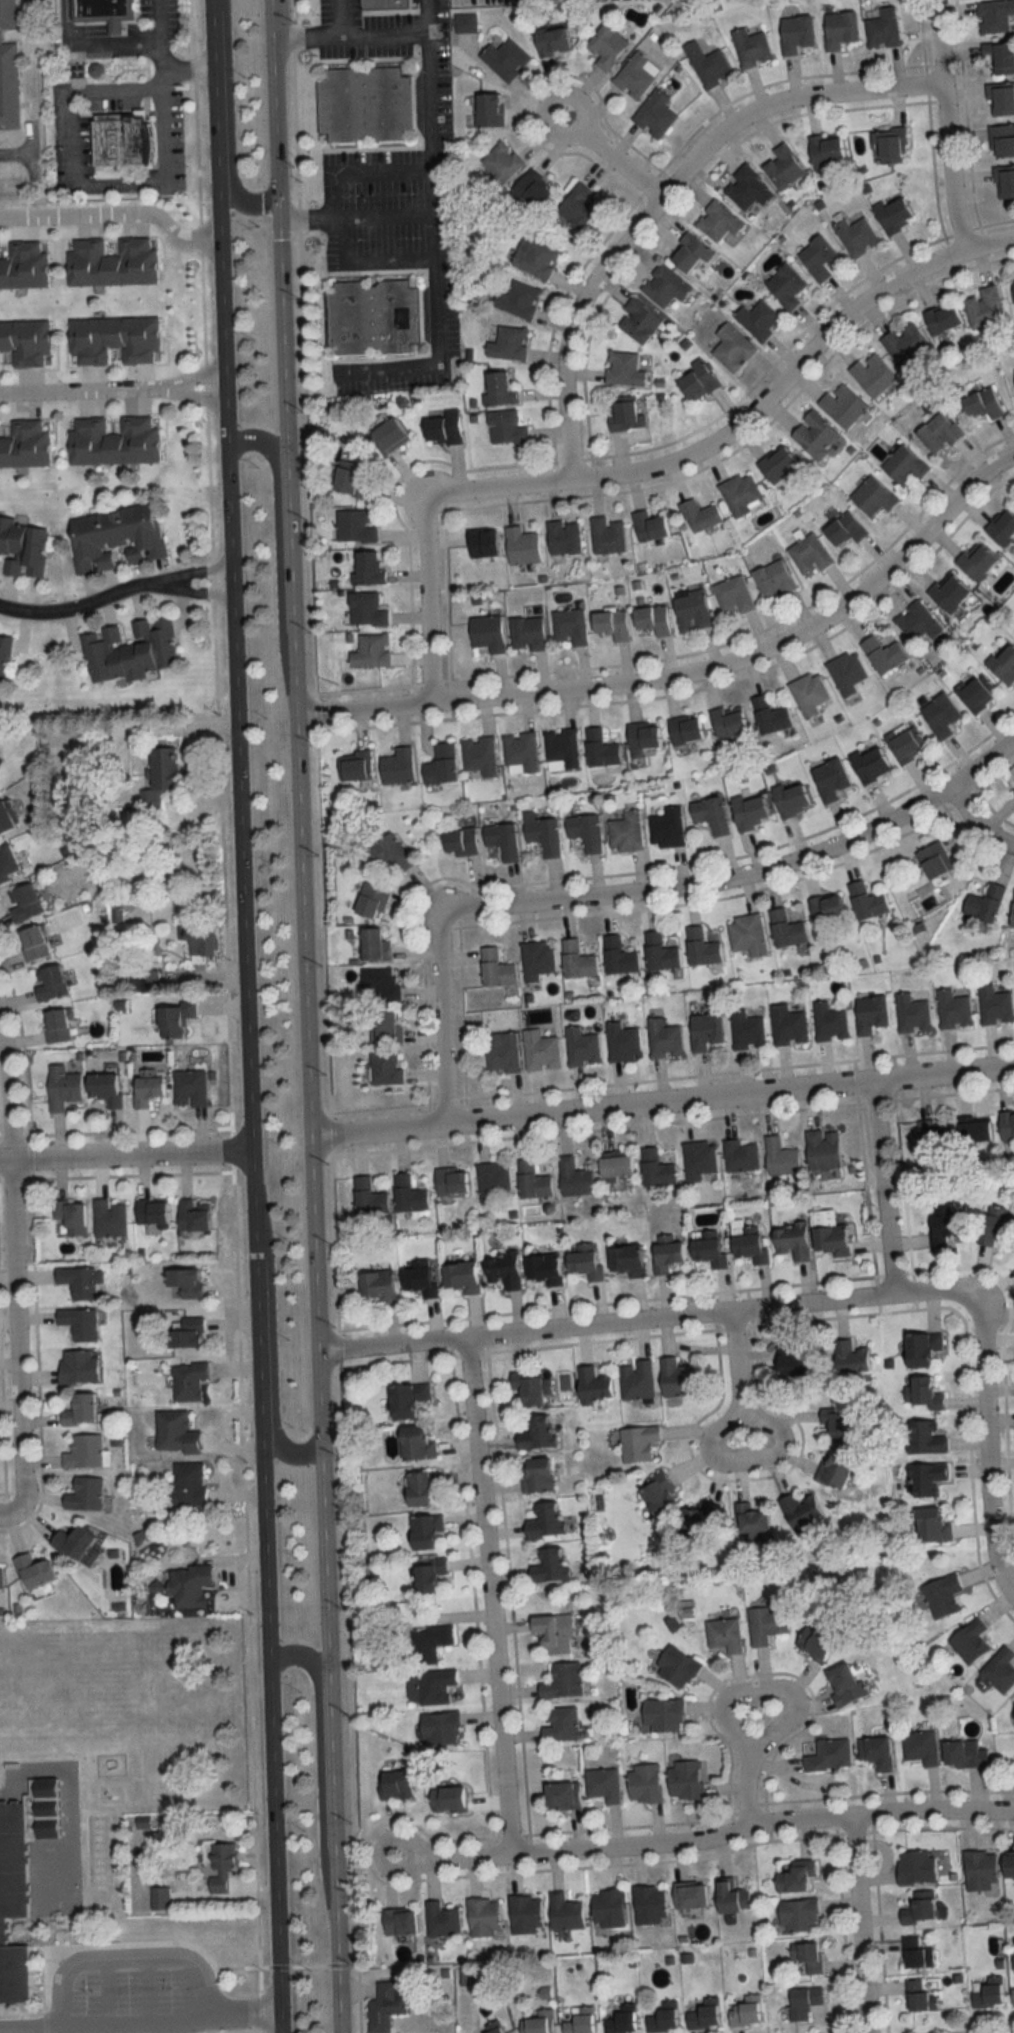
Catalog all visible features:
building: (388, 6)
building: (106, 11)
road: (429, 15)
building: (993, 16)
road: (160, 19)
building: (467, 22)
building: (838, 29)
building: (882, 29)
building: (796, 34)
road: (92, 40)
building: (556, 41)
building: (611, 46)
building: (754, 47)
building: (998, 57)
building: (508, 58)
building: (711, 64)
road: (172, 66)
building: (9, 69)
building: (639, 75)
road: (271, 91)
building: (1000, 100)
building: (368, 103)
building: (493, 110)
building: (658, 113)
road: (229, 117)
road: (213, 121)
road: (946, 123)
building: (1001, 140)
building: (893, 144)
building: (829, 150)
road: (609, 151)
road: (29, 152)
building: (138, 152)
building: (504, 164)
road: (30, 165)
road: (433, 165)
building: (787, 166)
building: (1004, 180)
road: (84, 184)
building: (536, 188)
building: (751, 188)
road: (658, 192)
building: (583, 206)
road: (115, 211)
building: (899, 214)
road: (355, 215)
building: (722, 223)
building: (860, 236)
building: (695, 253)
building: (538, 257)
building: (822, 257)
building: (115, 262)
building: (27, 266)
building: (668, 285)
building: (790, 285)
building: (1013, 291)
building: (522, 299)
building: (984, 307)
building: (376, 316)
building: (942, 316)
building: (644, 320)
building: (762, 320)
building: (117, 339)
building: (27, 342)
building: (904, 345)
building: (736, 347)
building: (627, 369)
building: (872, 374)
building: (701, 380)
road: (166, 386)
road: (83, 388)
building: (503, 388)
building: (982, 402)
building: (842, 404)
building: (627, 414)
building: (510, 426)
building: (448, 427)
building: (938, 432)
building: (395, 433)
building: (813, 433)
building: (117, 440)
building: (28, 444)
building: (777, 462)
building: (904, 464)
road: (658, 465)
building: (354, 480)
building: (739, 493)
building: (872, 495)
building: (699, 515)
building: (358, 525)
building: (648, 526)
building: (1001, 527)
building: (844, 528)
building: (606, 535)
road: (273, 536)
building: (119, 537)
building: (563, 537)
building: (482, 542)
building: (521, 545)
building: (25, 546)
building: (808, 553)
building: (976, 560)
building: (372, 568)
building: (772, 578)
building: (948, 592)
road: (113, 593)
building: (732, 593)
building: (369, 608)
building: (690, 609)
building: (651, 619)
building: (611, 623)
building: (916, 623)
building: (569, 626)
building: (486, 632)
building: (527, 633)
building: (374, 650)
building: (132, 651)
building: (882, 654)
building: (5, 656)
building: (1003, 663)
road: (687, 669)
building: (847, 672)
building: (976, 691)
building: (808, 693)
road: (231, 699)
building: (768, 715)
building: (939, 715)
building: (726, 723)
road: (174, 726)
building: (684, 729)
building: (642, 735)
building: (905, 743)
building: (599, 748)
building: (561, 749)
building: (520, 753)
building: (479, 756)
building: (869, 763)
building: (440, 764)
building: (353, 765)
building: (397, 766)
building: (162, 778)
building: (829, 780)
building: (1013, 791)
building: (790, 799)
building: (749, 811)
building: (709, 814)
building: (8, 818)
road: (974, 826)
building: (667, 828)
building: (583, 830)
building: (625, 831)
building: (541, 833)
building: (501, 839)
building: (458, 841)
building: (389, 853)
building: (933, 859)
building: (10, 863)
road: (645, 889)
building: (866, 900)
building: (371, 901)
building: (27, 903)
building: (983, 905)
building: (825, 907)
building: (1012, 912)
road: (299, 926)
building: (785, 928)
building: (746, 934)
building: (201, 938)
building: (37, 943)
building: (372, 945)
building: (700, 947)
building: (659, 952)
building: (617, 956)
building: (536, 959)
building: (576, 960)
building: (53, 982)
building: (379, 984)
building: (994, 1005)
building: (953, 1009)
building: (870, 1013)
building: (911, 1013)
road: (325, 1015)
building: (179, 1019)
building: (829, 1022)
building: (60, 1025)
building: (787, 1025)
building: (386, 1027)
building: (746, 1030)
building: (704, 1031)
building: (663, 1039)
building: (622, 1043)
building: (581, 1047)
building: (539, 1050)
building: (500, 1052)
building: (384, 1067)
building: (66, 1087)
building: (110, 1088)
building: (152, 1088)
building: (192, 1088)
road: (660, 1102)
road: (7, 1103)
building: (1007, 1124)
building: (975, 1130)
building: (933, 1136)
building: (822, 1148)
building: (740, 1155)
building: (780, 1156)
road: (123, 1158)
building: (699, 1158)
building: (615, 1164)
building: (655, 1168)
building: (573, 1177)
building: (492, 1180)
building: (450, 1181)
building: (531, 1181)
road: (248, 1185)
road: (882, 1188)
building: (407, 1194)
building: (367, 1197)
building: (155, 1211)
building: (198, 1215)
building: (75, 1216)
building: (112, 1219)
building: (997, 1227)
building: (944, 1228)
building: (830, 1235)
building: (792, 1240)
building: (749, 1244)
building: (708, 1248)
building: (665, 1255)
building: (626, 1260)
building: (584, 1261)
building: (543, 1268)
building: (502, 1270)
building: (460, 1277)
building: (420, 1278)
building: (83, 1281)
building: (190, 1282)
building: (376, 1286)
road: (644, 1320)
building: (83, 1323)
building: (190, 1333)
road: (15, 1334)
road: (269, 1334)
building: (921, 1349)
road: (734, 1358)
building: (850, 1358)
building: (795, 1363)
building: (81, 1367)
building: (676, 1378)
building: (635, 1380)
building: (191, 1381)
building: (592, 1385)
building: (530, 1389)
building: (924, 1393)
building: (406, 1400)
building: (84, 1411)
building: (836, 1424)
building: (179, 1432)
building: (535, 1433)
building: (925, 1438)
building: (637, 1443)
building: (415, 1444)
road: (988, 1447)
building: (86, 1452)
road: (748, 1461)
building: (833, 1468)
building: (535, 1475)
building: (926, 1478)
building: (193, 1484)
building: (419, 1488)
building: (88, 1494)
building: (677, 1508)
building: (799, 1510)
road: (11, 1514)
building: (749, 1519)
building: (544, 1521)
building: (930, 1525)
building: (425, 1532)
building: (80, 1544)
building: (548, 1566)
building: (37, 1572)
building: (427, 1574)
building: (2, 1578)
building: (192, 1585)
road: (486, 1596)
building: (941, 1596)
road: (262, 1625)
building: (764, 1625)
building: (553, 1634)
building: (723, 1635)
building: (968, 1642)
building: (427, 1644)
building: (812, 1644)
building: (675, 1667)
building: (999, 1671)
building: (561, 1682)
building: (843, 1685)
building: (434, 1686)
road: (766, 1686)
building: (1013, 1709)
building: (661, 1716)
building: (560, 1725)
building: (438, 1728)
building: (919, 1747)
building: (875, 1752)
building: (962, 1754)
building: (828, 1756)
road: (316, 1775)
building: (684, 1780)
building: (643, 1783)
building: (400, 1784)
building: (602, 1784)
road: (746, 1785)
road: (66, 1786)
building: (560, 1796)
building: (446, 1800)
road: (760, 1821)
road: (411, 1833)
road: (332, 1851)
building: (225, 1865)
building: (1008, 1865)
building: (914, 1867)
building: (979, 1870)
building: (23, 1878)
building: (794, 1878)
building: (688, 1896)
building: (162, 1898)
building: (731, 1898)
building: (648, 1905)
building: (607, 1908)
building: (918, 1909)
building: (528, 1914)
building: (566, 1914)
building: (797, 1916)
building: (487, 1917)
building: (444, 1920)
building: (404, 1921)
road: (861, 1922)
building: (915, 1954)
building: (807, 1958)
building: (988, 1993)
building: (1012, 1993)
building: (919, 1997)
building: (802, 2002)
building: (388, 2005)
building: (749, 2011)
building: (708, 2014)
building: (667, 2017)
road: (138, 2020)
building: (626, 2020)
building: (584, 2021)
building: (540, 2022)
building: (498, 2026)

